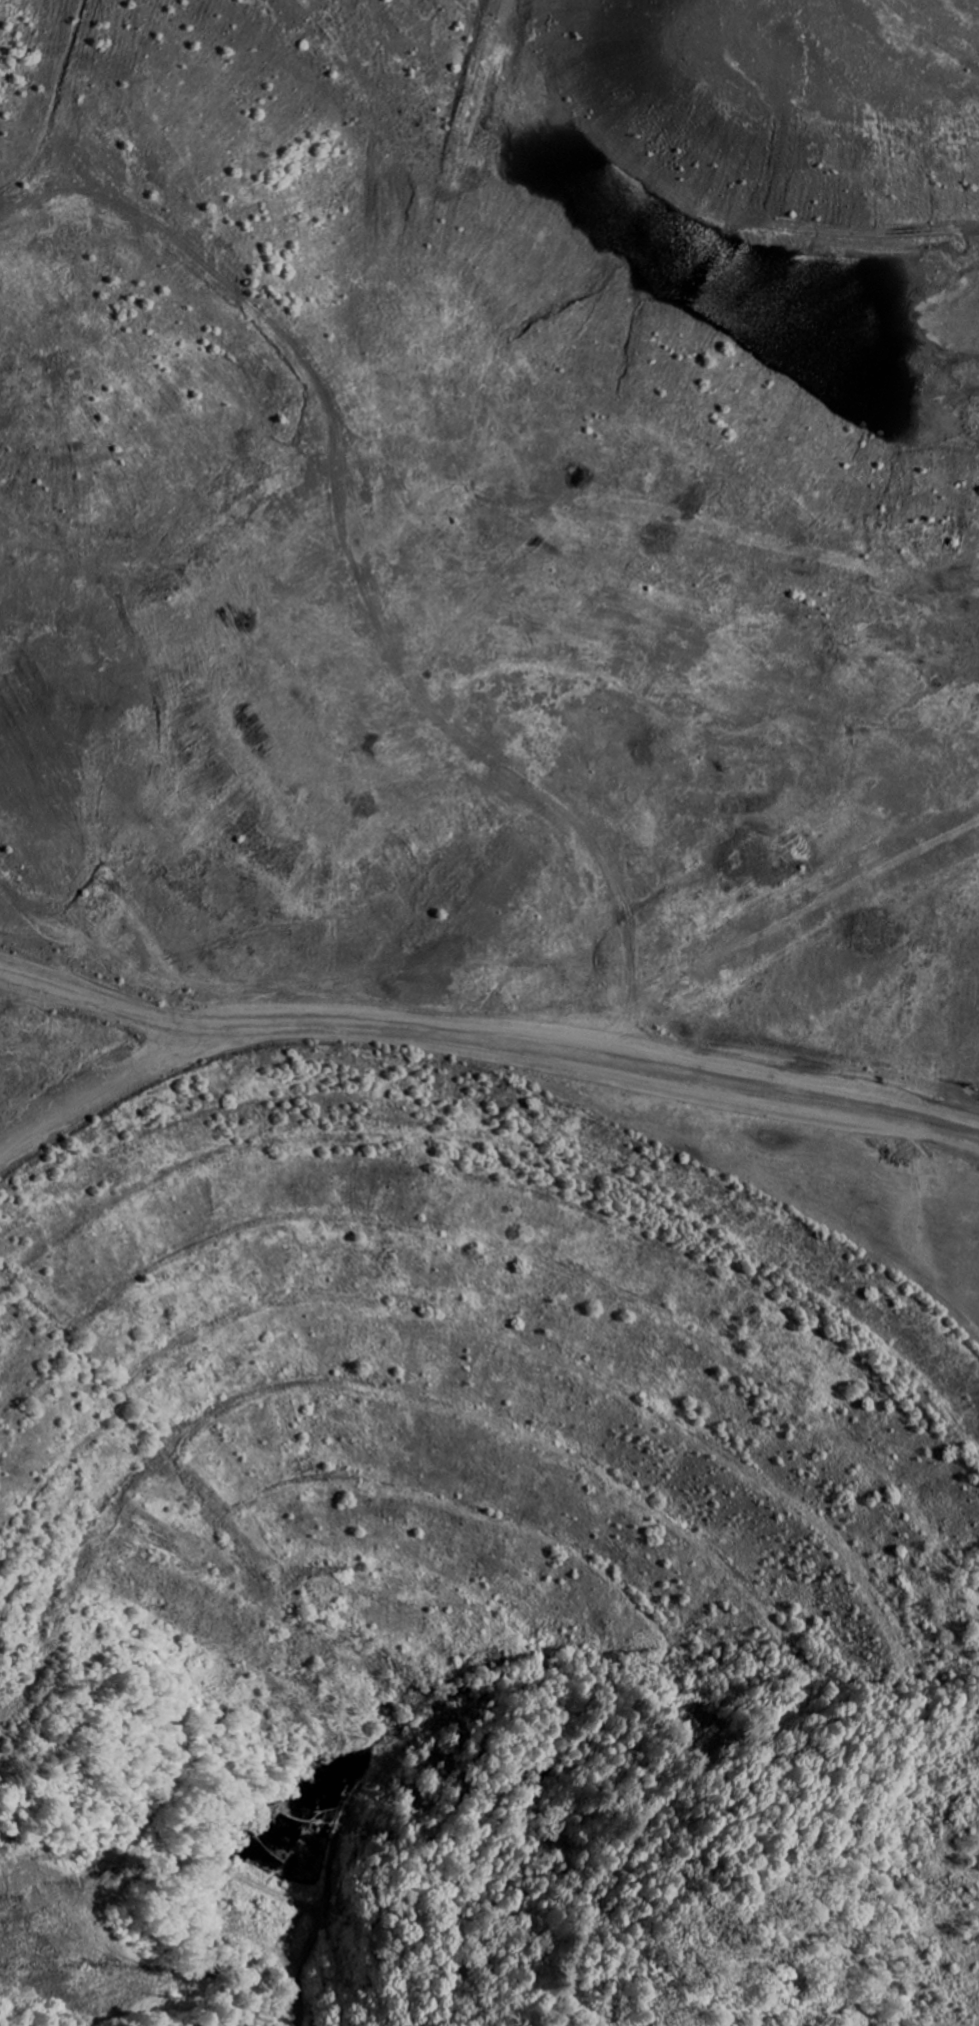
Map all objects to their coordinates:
quarry: (489, 1013)

